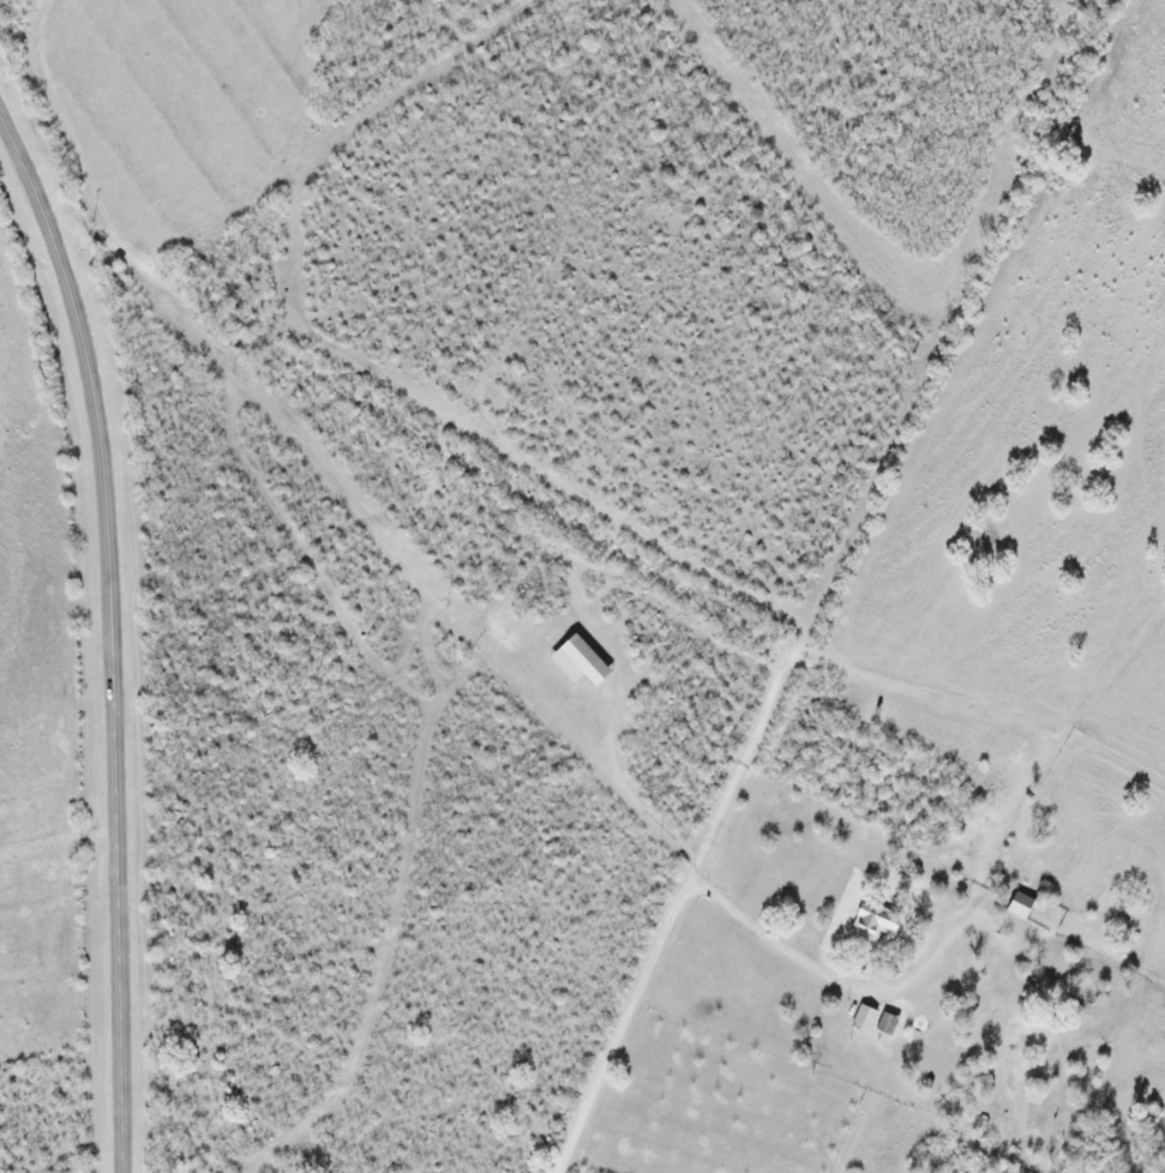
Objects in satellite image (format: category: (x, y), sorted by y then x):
road: (115, 636)
building: (584, 662)
building: (1028, 904)
road: (678, 912)
building: (877, 922)
building: (869, 1017)

